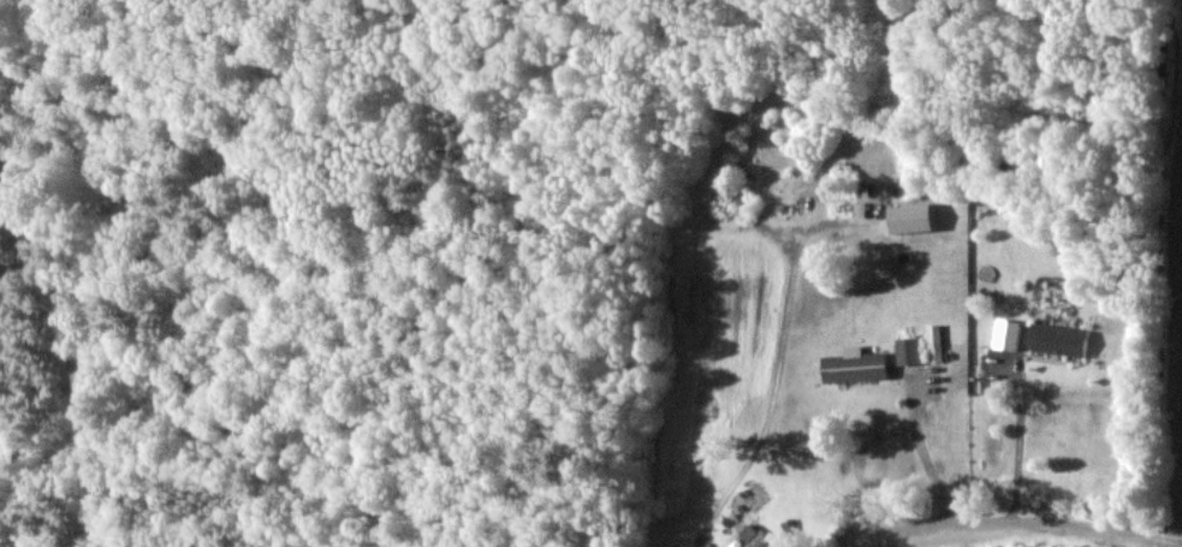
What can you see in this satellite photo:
building: (913, 216)
building: (1008, 333)
building: (1059, 338)
building: (934, 341)
building: (909, 350)
building: (856, 364)
road: (100, 375)
road: (772, 399)
road: (1018, 434)
road: (927, 457)
road: (969, 525)
building: (754, 536)

